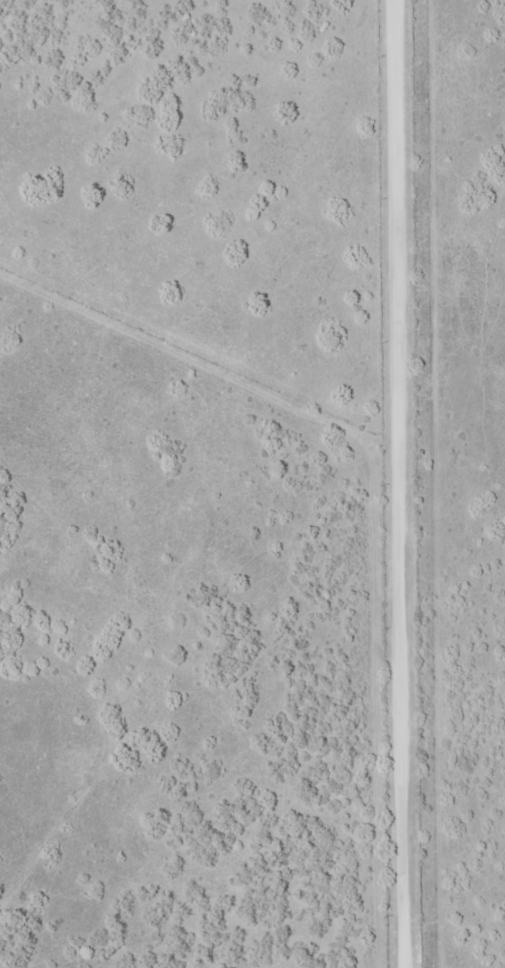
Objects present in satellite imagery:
road: (397, 484)

